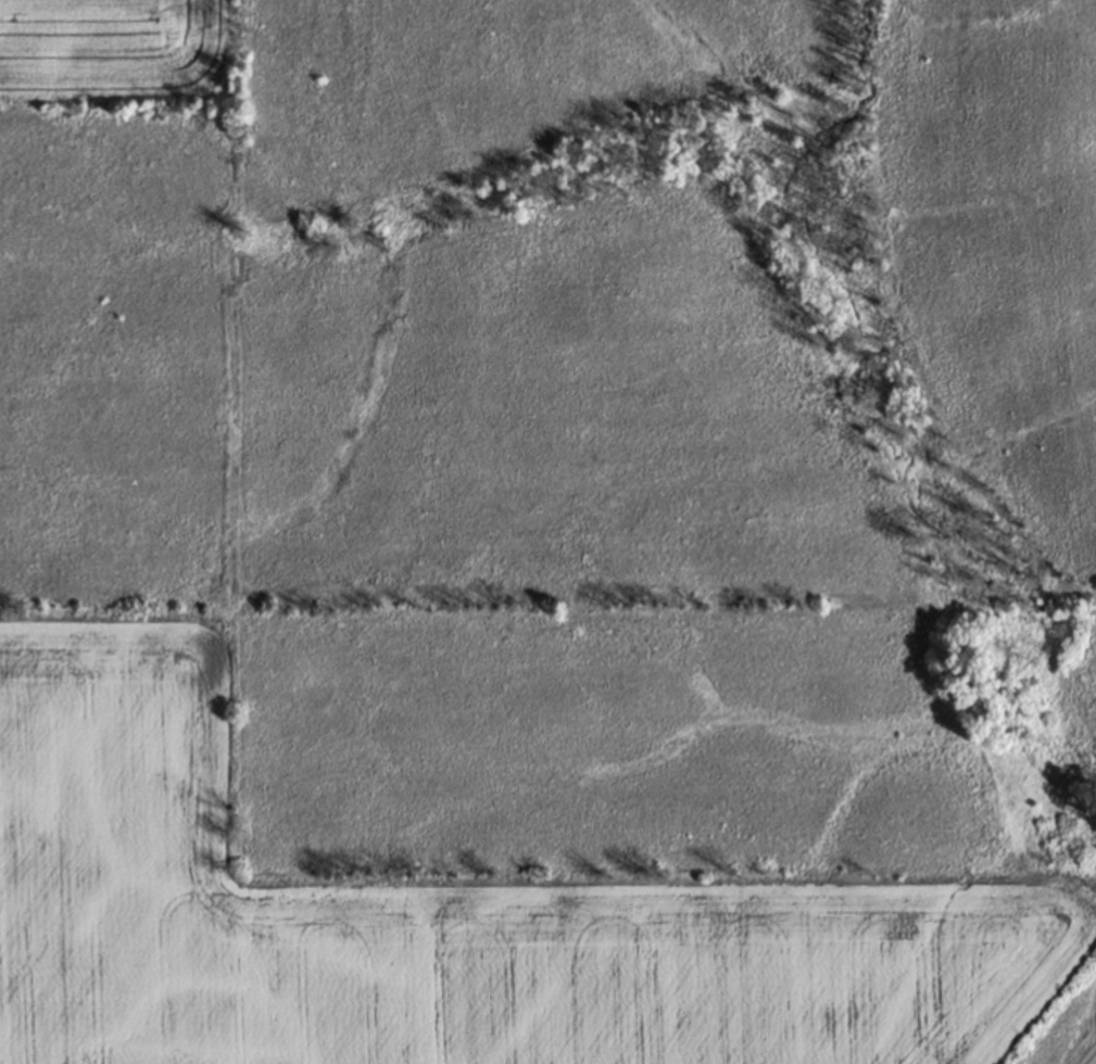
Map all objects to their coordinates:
crop: (545, 529)
road: (1085, 1052)

